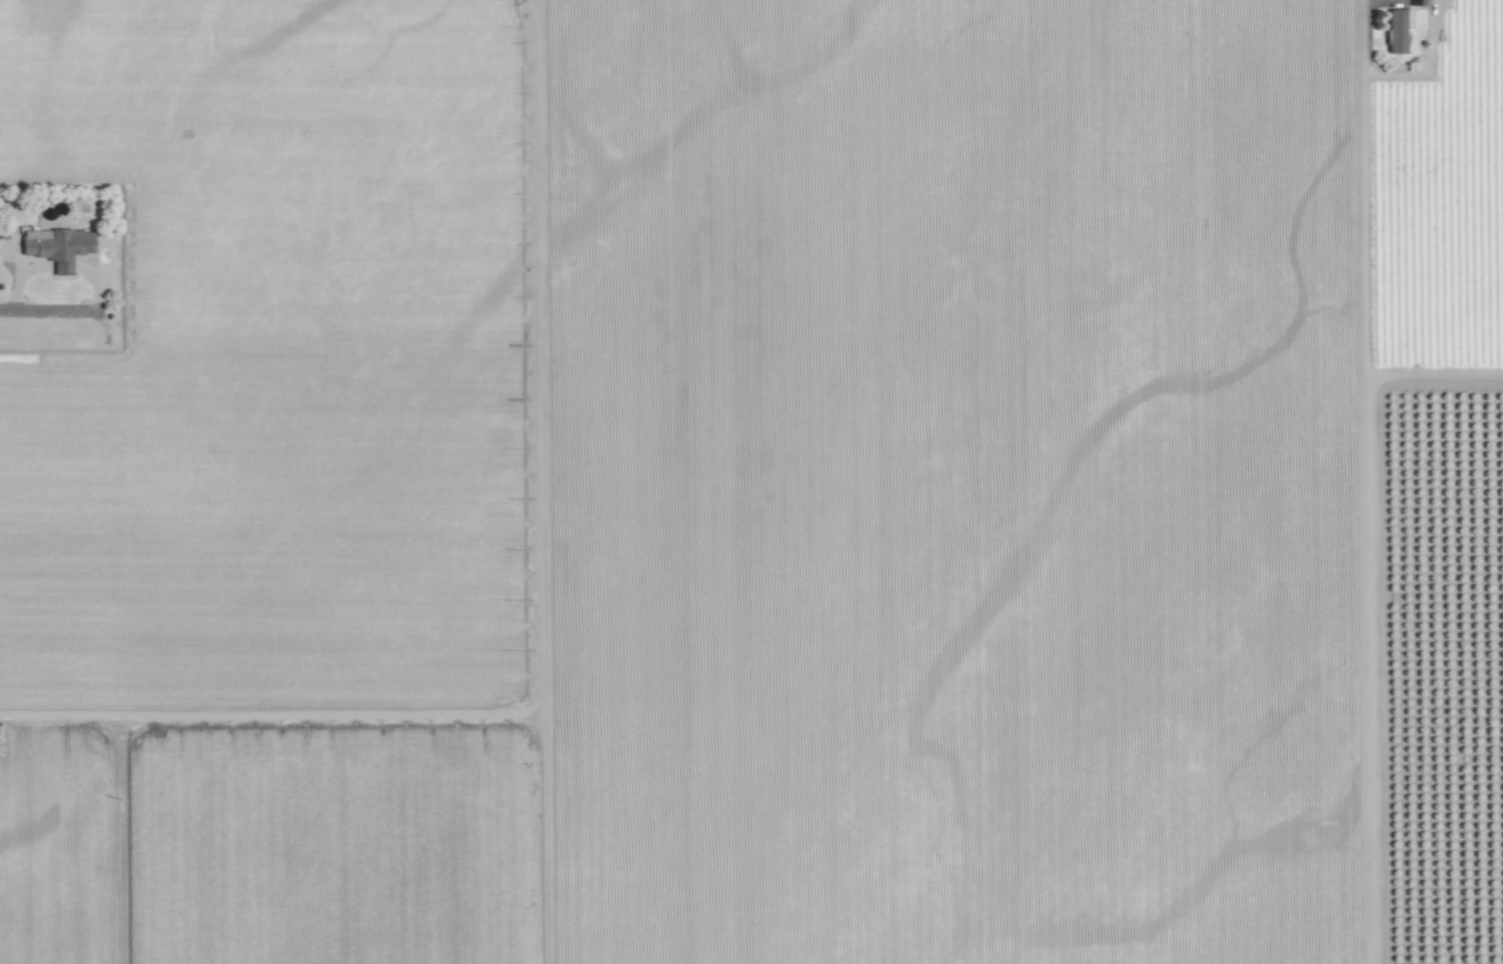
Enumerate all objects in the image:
building: (1397, 28)
road: (1424, 66)
building: (54, 245)
road: (45, 308)
road: (540, 482)
crop: (751, 482)
road: (1367, 482)
road: (272, 714)
road: (120, 840)

